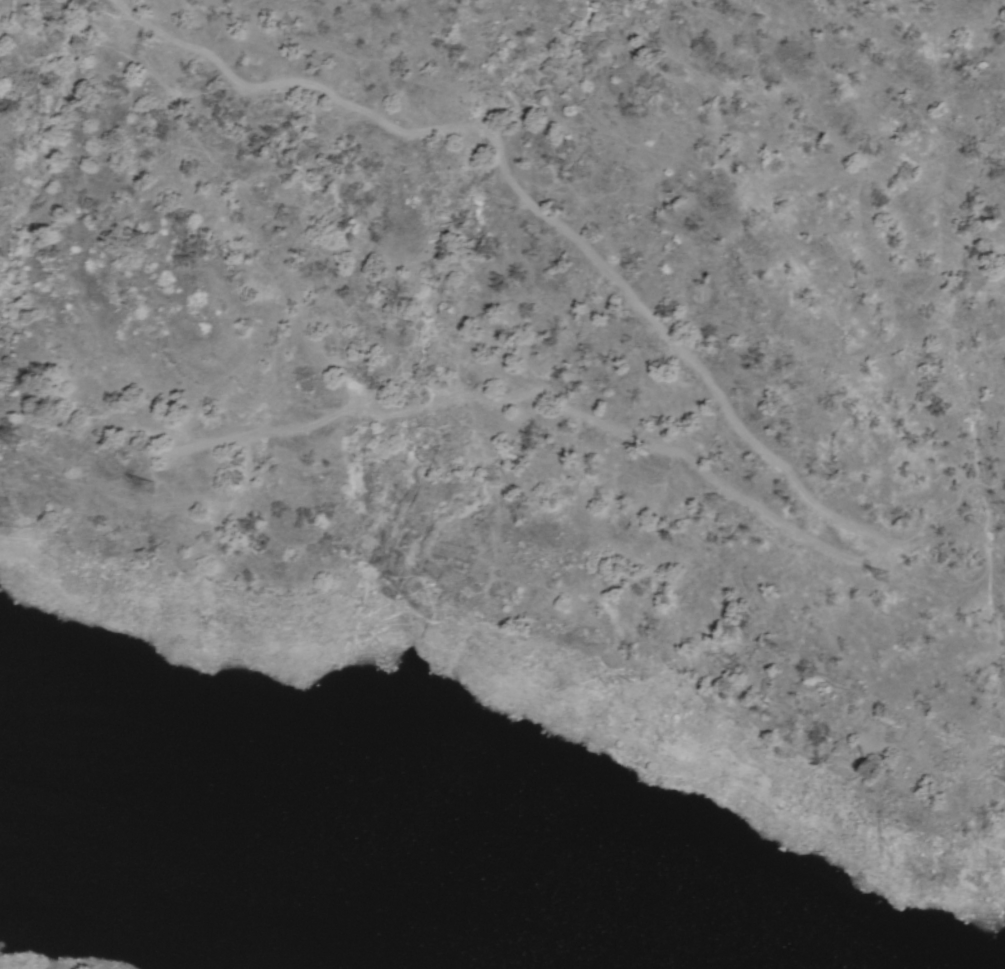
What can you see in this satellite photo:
power tower: (119, 481)
power tower: (846, 573)
river: (192, 841)
river: (443, 910)
river: (534, 951)

